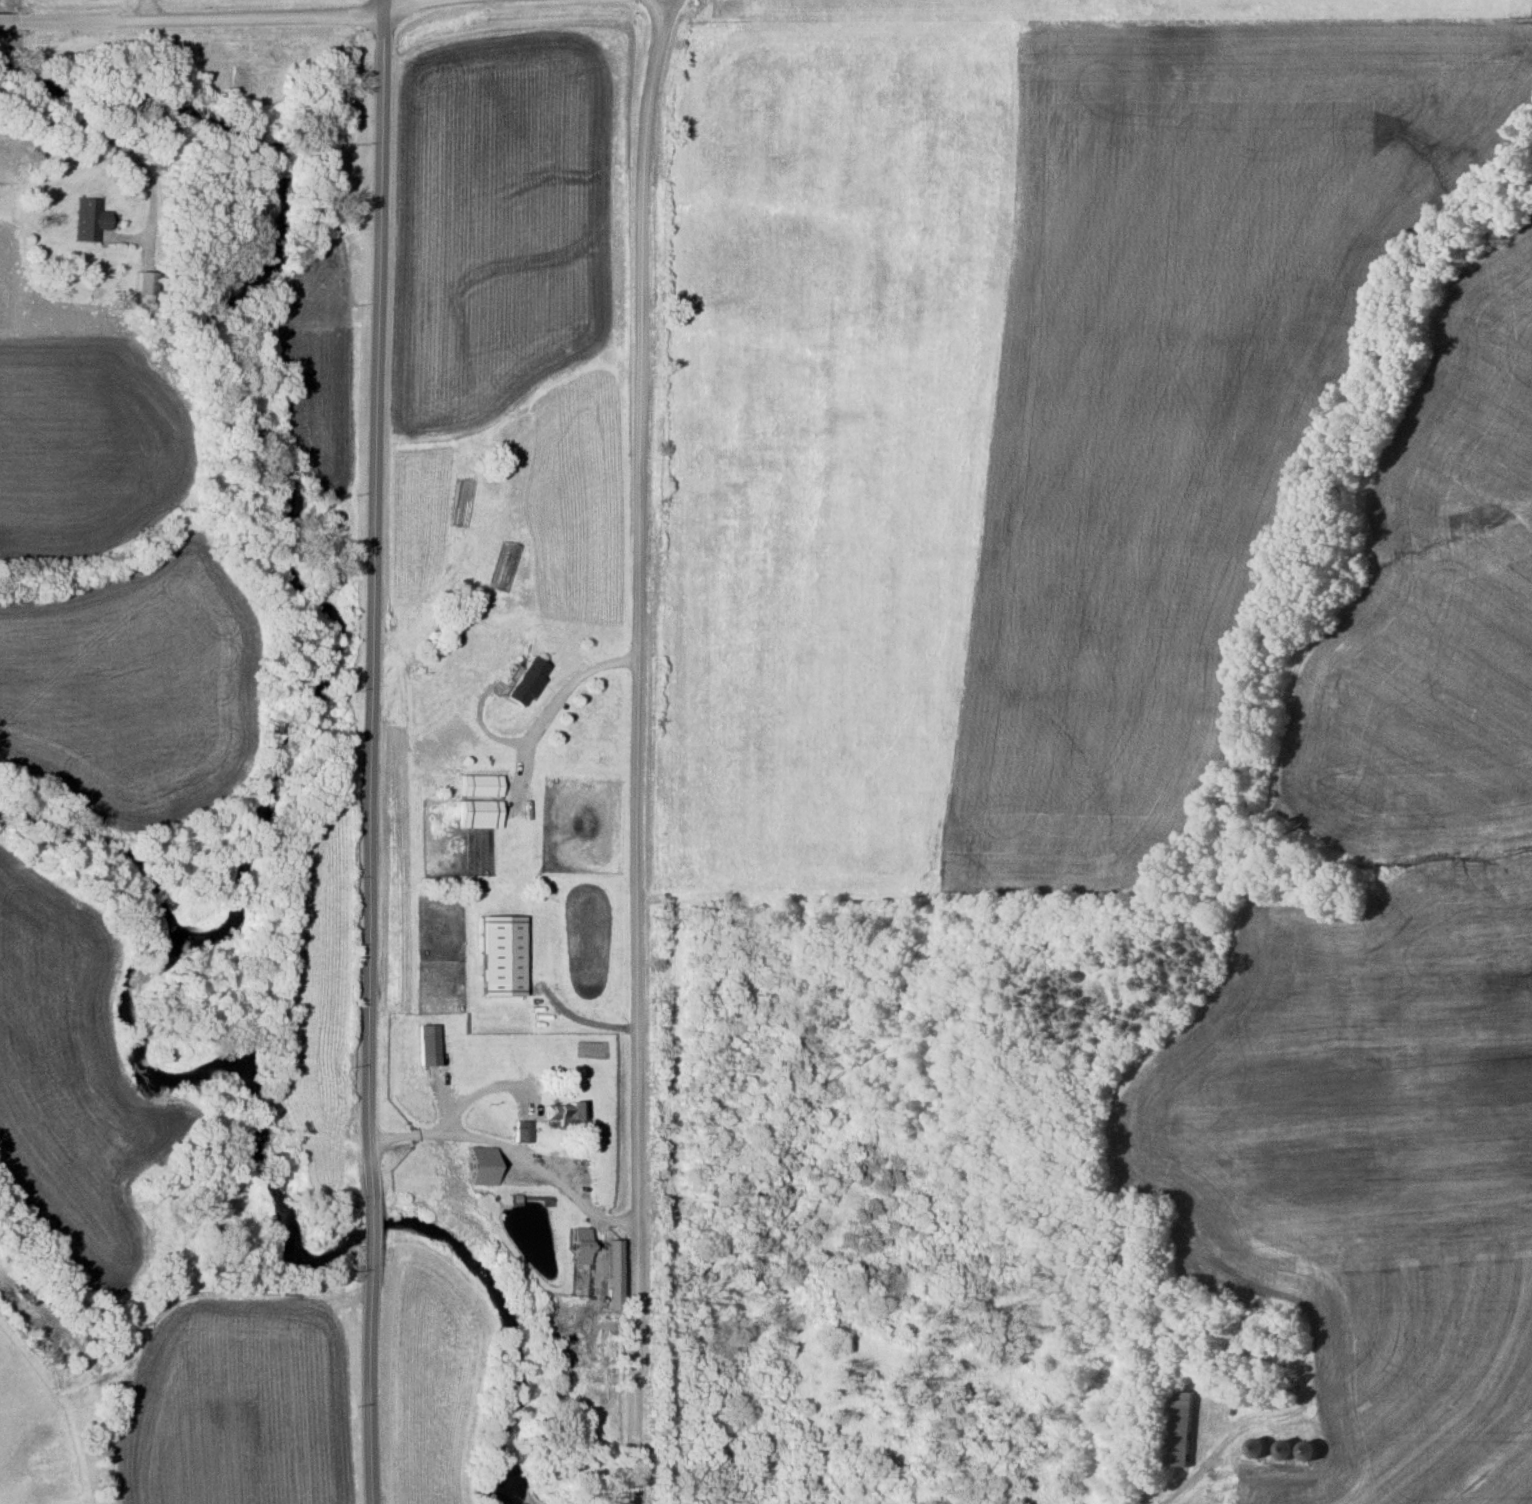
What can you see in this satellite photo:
road: (387, 6)
road: (145, 8)
road: (191, 15)
road: (2, 16)
road: (108, 139)
building: (86, 220)
building: (137, 287)
building: (505, 566)
road: (370, 598)
building: (524, 681)
road: (557, 694)
road: (640, 750)
building: (478, 785)
building: (477, 814)
river: (263, 822)
river: (103, 858)
building: (499, 954)
road: (578, 1022)
building: (424, 1044)
road: (479, 1094)
building: (563, 1111)
building: (519, 1131)
road: (505, 1156)
building: (476, 1165)
road: (359, 1231)
building: (577, 1234)
building: (1125, 1266)
building: (1282, 1332)
road: (361, 1385)
building: (1172, 1429)
building: (1253, 1449)
building: (1281, 1450)
building: (1303, 1451)

